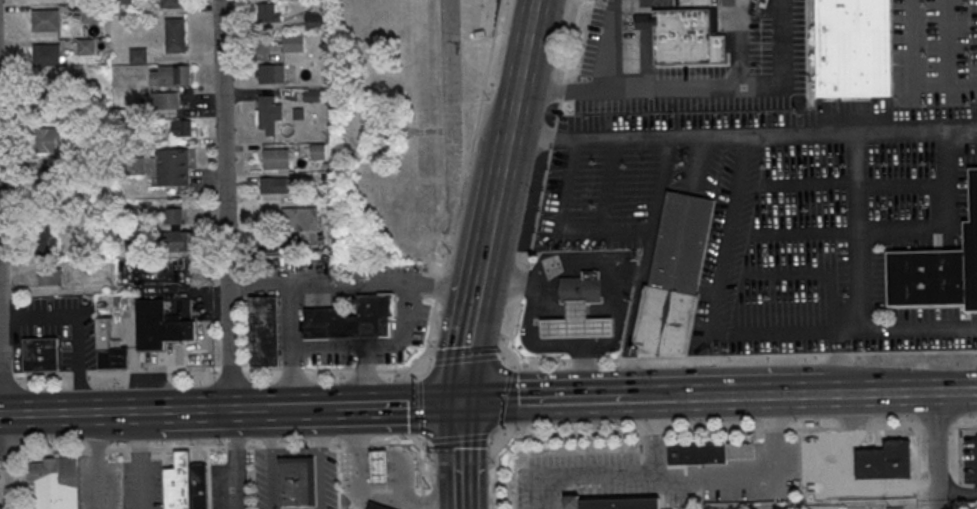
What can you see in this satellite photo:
building: (124, 2)
building: (173, 4)
building: (92, 14)
building: (268, 14)
building: (47, 22)
building: (316, 22)
building: (176, 37)
building: (685, 38)
building: (294, 43)
building: (87, 48)
building: (855, 48)
building: (47, 57)
building: (139, 57)
road: (914, 73)
building: (272, 74)
building: (171, 77)
road: (521, 84)
road: (692, 87)
building: (45, 89)
building: (315, 96)
building: (161, 101)
road: (450, 104)
building: (270, 115)
building: (182, 129)
road: (744, 136)
road: (473, 138)
building: (48, 140)
building: (319, 152)
building: (277, 160)
building: (66, 166)
building: (175, 168)
road: (224, 168)
road: (502, 184)
building: (275, 186)
building: (45, 191)
road: (498, 206)
building: (174, 217)
building: (305, 225)
road: (562, 229)
road: (856, 230)
building: (46, 233)
building: (178, 240)
road: (490, 242)
road: (575, 261)
road: (645, 268)
road: (720, 268)
building: (938, 271)
building: (676, 277)
building: (51, 278)
road: (512, 278)
road: (322, 286)
road: (440, 288)
building: (583, 288)
road: (409, 300)
building: (352, 317)
building: (578, 322)
building: (160, 325)
road: (917, 326)
road: (76, 327)
road: (432, 327)
building: (264, 330)
road: (471, 337)
building: (110, 347)
road: (328, 348)
building: (41, 353)
road: (841, 356)
road: (466, 360)
road: (508, 360)
road: (430, 363)
road: (294, 368)
road: (423, 368)
road: (233, 369)
road: (264, 369)
road: (155, 371)
road: (365, 372)
road: (393, 372)
road: (79, 373)
road: (328, 373)
road: (230, 374)
road: (44, 375)
road: (422, 375)
road: (7, 376)
road: (580, 377)
road: (900, 393)
road: (757, 397)
road: (502, 399)
road: (663, 399)
road: (550, 402)
traffic signals: (465, 403)
road: (400, 405)
road: (422, 407)
road: (302, 408)
road: (205, 411)
road: (71, 414)
road: (1, 416)
road: (3, 427)
road: (733, 429)
road: (498, 431)
road: (459, 439)
road: (420, 443)
road: (422, 443)
road: (215, 447)
road: (936, 451)
building: (898, 452)
road: (8, 453)
building: (709, 453)
road: (462, 455)
road: (319, 458)
road: (272, 459)
road: (142, 460)
road: (232, 460)
building: (867, 461)
building: (381, 466)
road: (498, 472)
road: (620, 475)
road: (755, 476)
road: (422, 479)
building: (297, 481)
building: (55, 483)
building: (188, 484)
road: (957, 494)
building: (613, 502)
building: (378, 506)
building: (895, 507)

